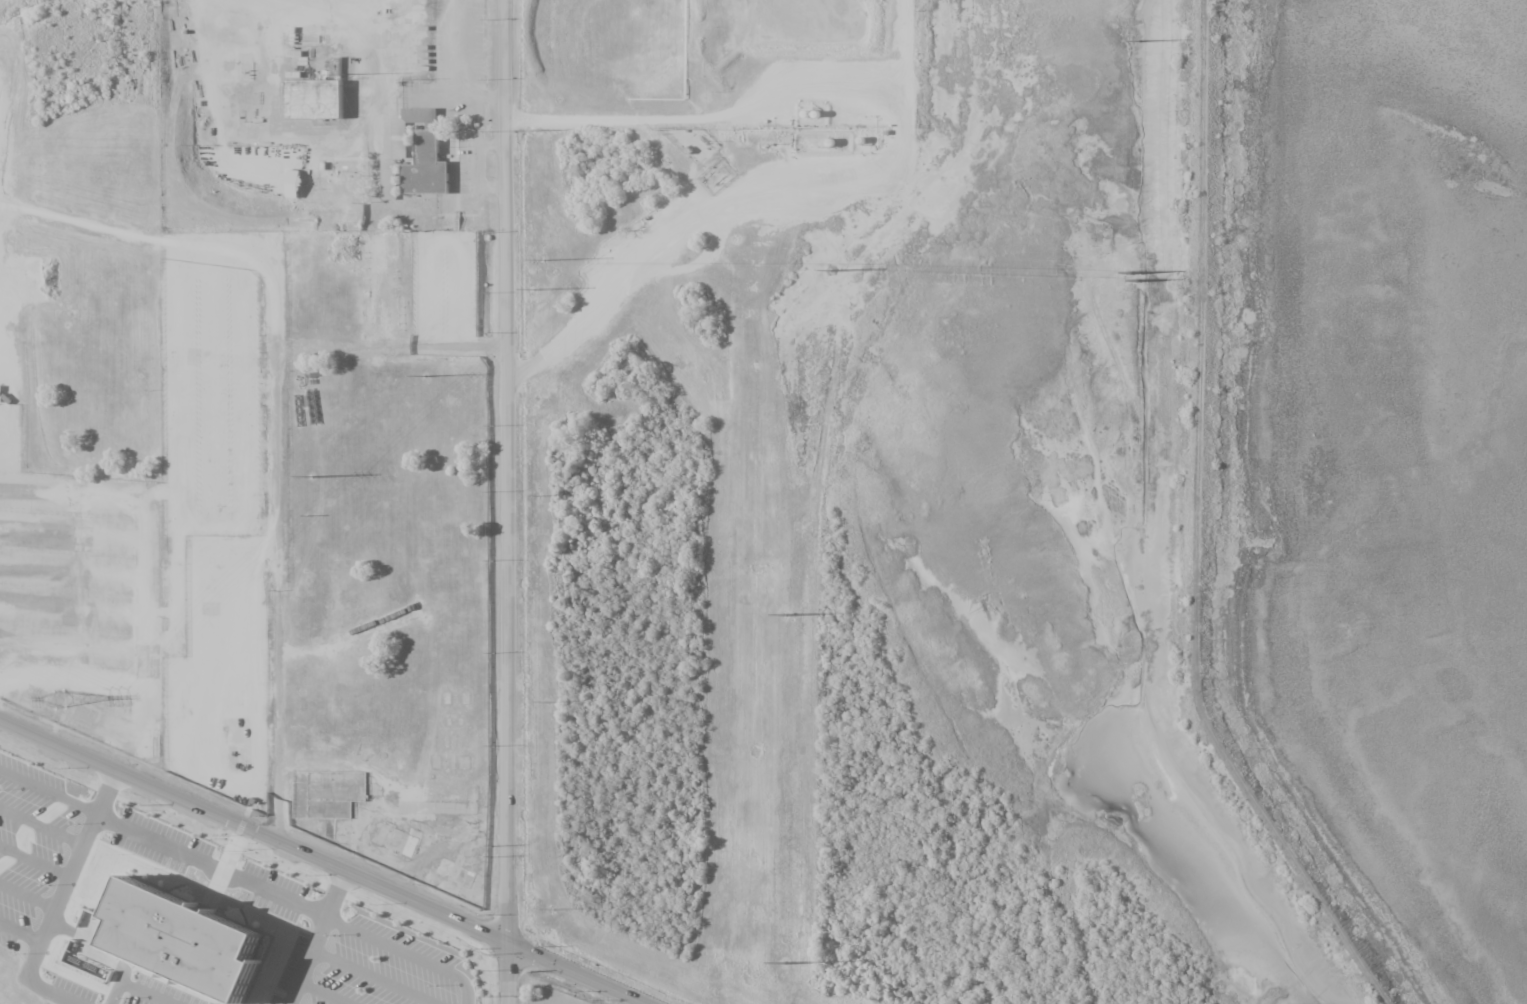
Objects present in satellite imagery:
power tower: (1137, 43)
building: (245, 71)
building: (322, 104)
building: (401, 146)
building: (425, 166)
building: (296, 185)
power tower: (543, 260)
power tower: (830, 271)
power tower: (1132, 276)
power tower: (532, 289)
power tower: (424, 376)
road: (506, 472)
power tower: (311, 476)
road: (275, 479)
power tower: (540, 495)
power tower: (785, 616)
power tower: (58, 699)
power tower: (543, 703)
road: (50, 794)
road: (321, 862)
road: (213, 867)
road: (336, 895)
road: (64, 899)
power tower: (549, 910)
road: (21, 934)
road: (396, 949)
building: (201, 952)
road: (309, 961)
power tower: (783, 963)
building: (88, 967)
road: (507, 974)
road: (469, 992)

